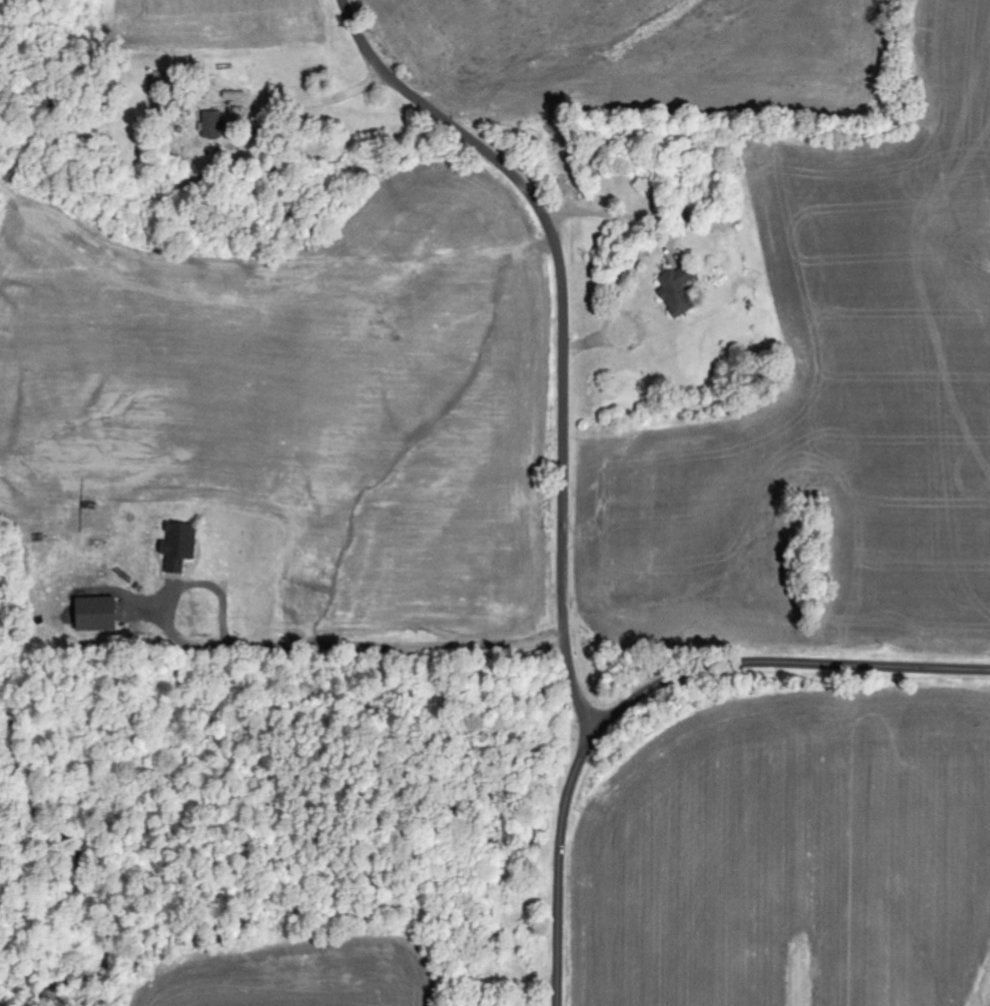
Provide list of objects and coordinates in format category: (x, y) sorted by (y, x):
building: (215, 125)
building: (679, 290)
road: (566, 327)
building: (181, 546)
building: (99, 614)
road: (648, 689)

